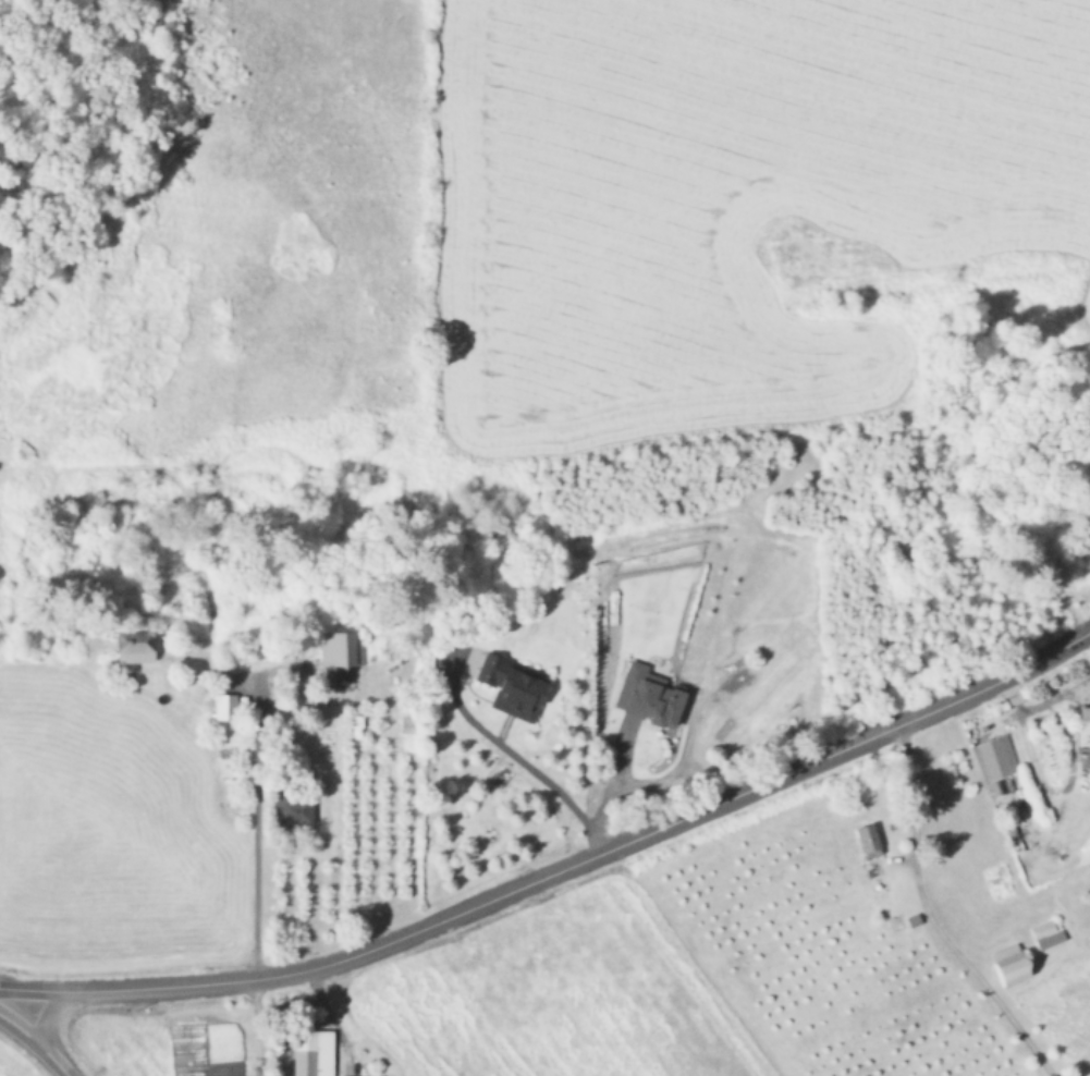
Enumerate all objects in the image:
building: (135, 649)
building: (342, 650)
road: (963, 696)
road: (1038, 700)
building: (224, 706)
building: (1085, 724)
building: (994, 759)
road: (1032, 759)
road: (513, 763)
building: (294, 811)
road: (249, 832)
building: (869, 842)
road: (931, 918)
crop: (877, 921)
road: (428, 926)
building: (1046, 936)
building: (1011, 966)
road: (44, 1018)
road: (20, 1031)
building: (313, 1052)
road: (53, 1062)

